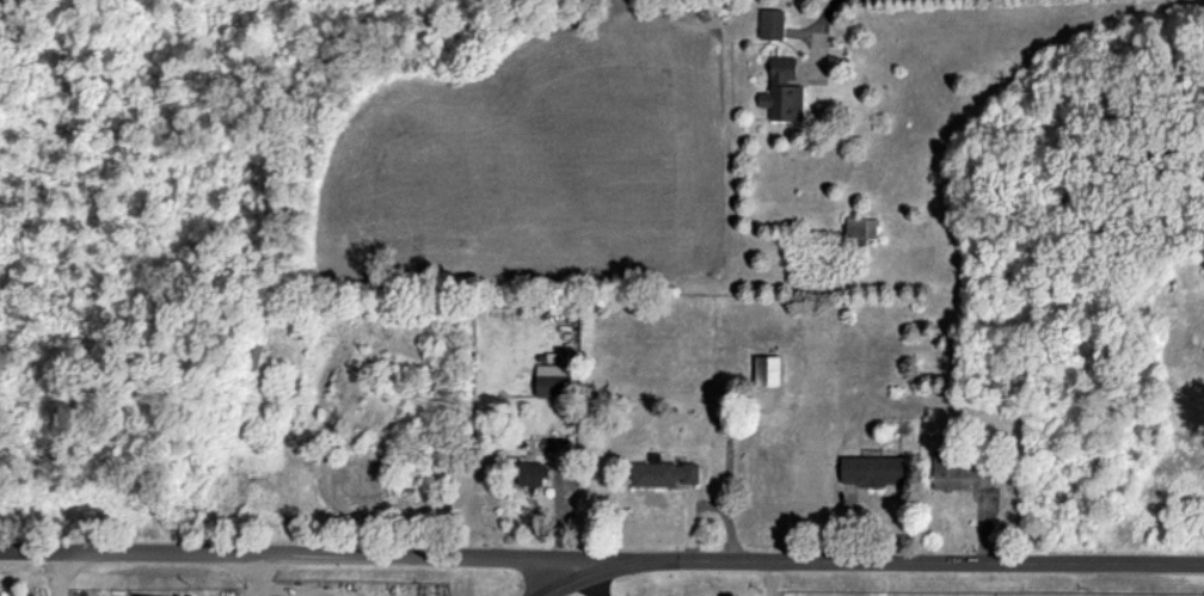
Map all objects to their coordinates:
road: (829, 11)
building: (772, 24)
building: (782, 91)
building: (854, 228)
building: (769, 371)
building: (554, 380)
building: (872, 471)
building: (957, 472)
building: (535, 474)
building: (664, 474)
road: (601, 560)
road: (57, 573)
road: (608, 573)
road: (263, 575)

